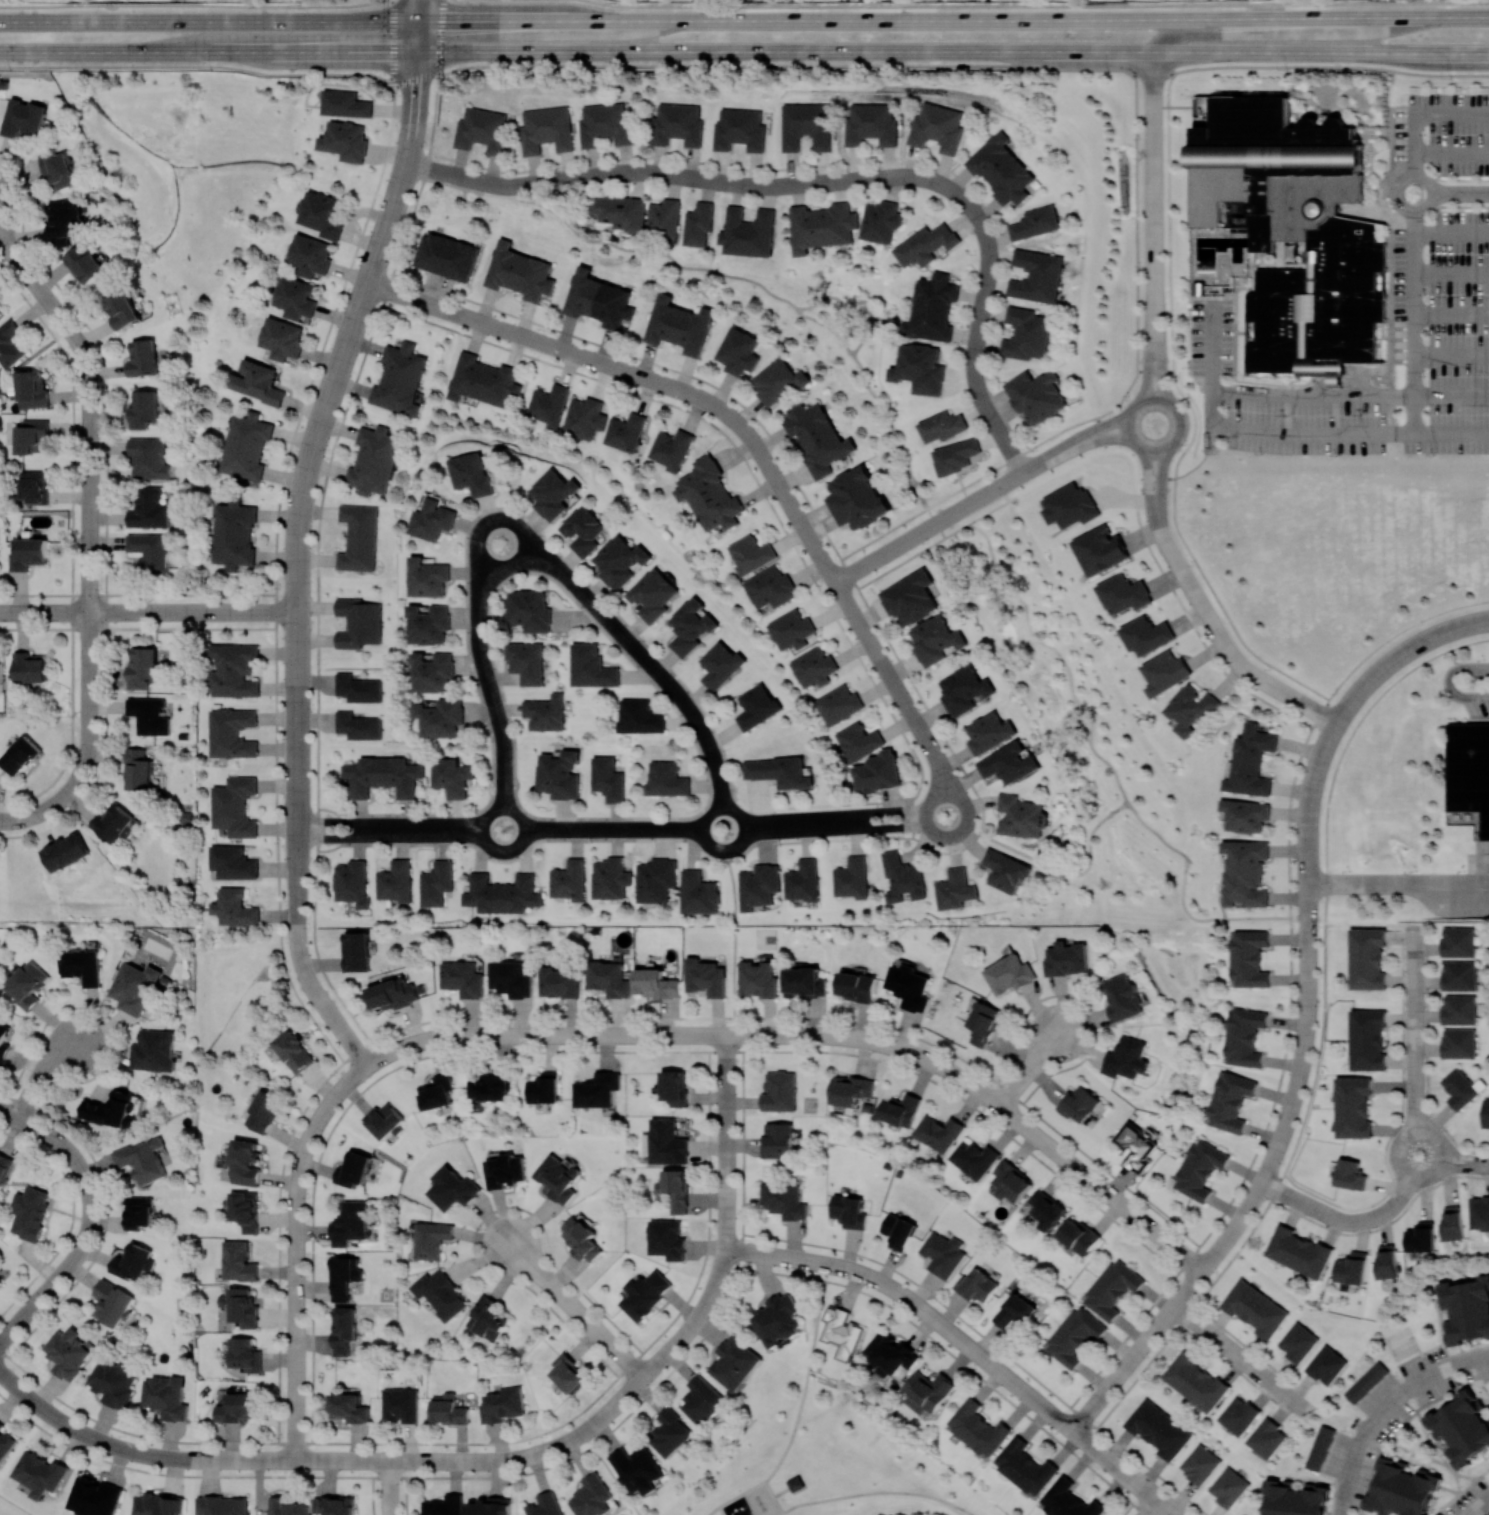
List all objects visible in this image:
park: (46, 0)
road: (192, 4)
road: (1038, 4)
road: (417, 10)
road: (744, 20)
traffic signals: (417, 21)
road: (1292, 32)
road: (440, 35)
road: (417, 36)
road: (392, 40)
road: (744, 50)
traffic signals: (417, 52)
road: (742, 64)
road: (415, 79)
building: (345, 104)
road: (1419, 111)
building: (23, 117)
building: (605, 124)
building: (676, 124)
building: (871, 124)
building: (806, 125)
building: (936, 127)
building: (482, 129)
building: (546, 129)
building: (739, 130)
road: (409, 134)
building: (345, 140)
road: (1450, 154)
park: (146, 165)
building: (60, 169)
building: (1001, 169)
road: (401, 174)
road: (489, 180)
road: (761, 183)
road: (465, 188)
road: (1459, 191)
road: (395, 197)
road: (1153, 198)
road: (1396, 201)
road: (968, 202)
building: (621, 212)
road: (390, 213)
building: (322, 214)
building: (664, 218)
building: (64, 221)
building: (880, 221)
building: (1035, 222)
building: (698, 224)
building: (821, 226)
building: (748, 232)
building: (1295, 232)
road: (381, 238)
road: (5, 239)
building: (925, 244)
building: (310, 255)
building: (446, 256)
building: (85, 263)
road: (371, 269)
building: (519, 272)
building: (1036, 276)
road: (759, 287)
building: (296, 297)
road: (415, 298)
building: (598, 299)
road: (983, 300)
road: (844, 305)
building: (933, 308)
building: (122, 309)
building: (0, 310)
road: (1409, 323)
building: (679, 325)
building: (1025, 333)
building: (282, 338)
building: (9, 344)
building: (739, 351)
building: (143, 358)
building: (920, 368)
road: (1154, 370)
road: (1159, 371)
road: (1144, 372)
building: (399, 379)
building: (483, 381)
building: (257, 382)
building: (778, 382)
building: (31, 389)
road: (1310, 391)
road: (692, 392)
road: (1449, 394)
building: (1036, 395)
road: (1122, 395)
road: (1151, 396)
building: (547, 405)
building: (144, 409)
building: (583, 417)
road: (1114, 418)
road: (1194, 418)
road: (90, 420)
road: (996, 423)
road: (1127, 424)
road: (1179, 424)
building: (942, 426)
building: (625, 432)
road: (1248, 432)
road: (1086, 433)
road: (1101, 434)
building: (32, 436)
building: (817, 437)
road: (1105, 438)
road: (1449, 438)
road: (313, 441)
road: (1137, 442)
building: (247, 447)
road: (1154, 447)
building: (671, 448)
building: (956, 455)
road: (1050, 455)
building: (148, 457)
building: (373, 460)
road: (1185, 472)
road: (1133, 473)
building: (473, 474)
road: (1013, 476)
road: (1161, 476)
road: (1147, 477)
building: (33, 486)
building: (554, 493)
building: (710, 495)
building: (856, 498)
road: (975, 498)
park: (994, 498)
building: (1070, 506)
building: (149, 509)
building: (434, 518)
road: (496, 519)
road: (934, 519)
road: (934, 522)
building: (584, 531)
building: (235, 535)
building: (358, 537)
building: (1100, 550)
building: (150, 551)
building: (27, 552)
building: (750, 554)
road: (878, 555)
road: (317, 557)
building: (620, 561)
building: (429, 577)
road: (573, 583)
building: (770, 588)
building: (1124, 593)
building: (653, 594)
road: (1195, 595)
building: (910, 597)
road: (480, 601)
road: (98, 610)
road: (246, 610)
road: (858, 620)
building: (358, 623)
building: (430, 624)
building: (691, 626)
building: (791, 629)
building: (1147, 635)
road: (297, 639)
building: (936, 639)
road: (1401, 655)
building: (526, 662)
building: (720, 665)
building: (142, 666)
road: (651, 666)
building: (30, 667)
road: (484, 667)
building: (592, 667)
building: (814, 667)
building: (1, 670)
building: (234, 670)
building: (434, 672)
building: (1165, 672)
road: (1452, 682)
building: (358, 688)
building: (964, 689)
road: (1293, 699)
road: (297, 700)
building: (838, 704)
building: (757, 706)
building: (1191, 708)
building: (545, 712)
building: (149, 715)
building: (441, 717)
building: (640, 717)
road: (913, 717)
building: (358, 726)
building: (989, 732)
building: (231, 733)
building: (858, 741)
road: (89, 742)
road: (708, 745)
road: (503, 749)
building: (20, 755)
road: (1104, 761)
building: (1251, 761)
road: (1320, 762)
building: (1009, 763)
building: (1470, 768)
building: (138, 770)
building: (778, 771)
building: (878, 772)
building: (559, 775)
building: (384, 776)
building: (452, 776)
building: (608, 779)
building: (667, 779)
road: (944, 785)
building: (234, 806)
road: (967, 811)
road: (517, 813)
road: (708, 813)
building: (1245, 815)
building: (1021, 816)
road: (898, 819)
road: (333, 820)
road: (925, 820)
road: (856, 821)
building: (114, 823)
road: (792, 824)
road: (425, 828)
road: (613, 828)
road: (298, 829)
road: (333, 837)
road: (488, 843)
road: (738, 844)
building: (66, 851)
road: (1308, 856)
building: (232, 862)
building: (1005, 871)
building: (1245, 872)
road: (1070, 874)
building: (611, 878)
building: (852, 878)
building: (902, 878)
building: (570, 880)
building: (656, 880)
building: (803, 880)
building: (395, 881)
building: (352, 882)
building: (436, 883)
building: (759, 885)
road: (1398, 885)
building: (955, 889)
building: (699, 893)
building: (502, 894)
building: (234, 907)
road: (1308, 917)
road: (733, 937)
building: (1459, 941)
road: (300, 952)
building: (357, 952)
building: (1067, 958)
building: (1249, 958)
building: (1367, 958)
building: (81, 965)
park: (1177, 966)
building: (1010, 974)
building: (1459, 975)
building: (706, 977)
building: (463, 978)
building: (511, 978)
building: (609, 978)
building: (758, 979)
building: (559, 982)
building: (805, 982)
building: (655, 983)
building: (28, 984)
road: (1289, 984)
building: (857, 986)
building: (133, 987)
park: (240, 987)
building: (909, 987)
building: (394, 994)
building: (1124, 997)
building: (1459, 1009)
road: (602, 1017)
road: (336, 1021)
building: (984, 1022)
road: (1416, 1026)
road: (627, 1034)
building: (1244, 1037)
building: (1367, 1040)
building: (4, 1041)
building: (1458, 1042)
road: (902, 1049)
building: (154, 1050)
building: (294, 1051)
building: (1126, 1057)
road: (1027, 1067)
road: (42, 1070)
building: (489, 1087)
building: (675, 1087)
building: (544, 1088)
building: (1459, 1088)
building: (850, 1089)
building: (597, 1090)
building: (780, 1091)
building: (436, 1092)
building: (1230, 1101)
building: (1079, 1103)
building: (1353, 1107)
building: (110, 1109)
building: (899, 1110)
building: (264, 1111)
building: (1486, 1113)
building: (384, 1120)
road: (1405, 1129)
building: (938, 1132)
road: (727, 1140)
building: (777, 1140)
building: (667, 1142)
building: (646, 1144)
building: (1135, 1146)
road: (1060, 1155)
building: (974, 1158)
building: (142, 1160)
building: (246, 1162)
road: (1465, 1163)
building: (5, 1167)
building: (353, 1169)
building: (1199, 1169)
building: (505, 1171)
building: (1350, 1174)
road: (1429, 1174)
building: (557, 1178)
building: (1012, 1181)
road: (1406, 1184)
building: (453, 1188)
building: (676, 1189)
road: (296, 1200)
building: (784, 1200)
road: (1249, 1202)
building: (1047, 1209)
building: (245, 1210)
building: (849, 1211)
building: (30, 1212)
building: (139, 1212)
building: (1479, 1213)
road: (89, 1219)
road: (1333, 1219)
building: (1452, 1222)
building: (350, 1223)
building: (899, 1231)
building: (1079, 1236)
building: (1421, 1237)
building: (432, 1239)
building: (582, 1239)
building: (667, 1239)
building: (1298, 1251)
building: (943, 1254)
building: (238, 1261)
building: (1386, 1261)
building: (133, 1262)
building: (1351, 1268)
road: (778, 1273)
building: (344, 1276)
building: (0, 1281)
building: (976, 1285)
building: (1112, 1288)
building: (645, 1293)
building: (441, 1294)
building: (112, 1303)
road: (916, 1303)
building: (245, 1307)
building: (1255, 1308)
road: (577, 1309)
building: (1467, 1309)
building: (1014, 1311)
building: (488, 1319)
building: (777, 1319)
building: (343, 1327)
building: (842, 1332)
building: (1074, 1336)
road: (989, 1341)
building: (1298, 1342)
park: (1401, 1342)
building: (68, 1352)
building: (245, 1354)
building: (890, 1354)
road: (1242, 1359)
building: (735, 1363)
building: (1327, 1365)
road: (296, 1369)
building: (568, 1373)
road: (983, 1380)
building: (114, 1381)
building: (1196, 1381)
building: (1366, 1381)
road: (802, 1384)
building: (927, 1391)
building: (166, 1397)
building: (702, 1400)
building: (400, 1404)
building: (503, 1405)
building: (236, 1407)
building: (349, 1407)
road: (1384, 1408)
building: (448, 1409)
building: (1239, 1415)
road: (296, 1420)
building: (1462, 1427)
building: (978, 1428)
building: (1158, 1428)
building: (670, 1433)
road: (88, 1435)
building: (1267, 1438)
building: (5, 1442)
road: (559, 1445)
building: (1320, 1447)
road: (245, 1460)
park: (829, 1462)
building: (1200, 1464)
road: (1115, 1465)
building: (1025, 1467)
building: (638, 1469)
building: (40, 1474)
road: (512, 1474)
road: (613, 1480)
building: (794, 1483)
building: (1228, 1486)
road: (389, 1487)
building: (1402, 1489)
road: (876, 1492)
road: (739, 1493)
building: (591, 1496)
road: (771, 1496)
building: (95, 1497)
building: (1295, 1498)
building: (1068, 1500)
building: (158, 1504)
building: (221, 1505)
building: (335, 1505)
building: (445, 1505)
building: (546, 1505)
building: (491, 1506)
road: (1477, 1506)
building: (286, 1507)
road: (1151, 1507)
road: (1167, 1507)
park: (11, 1508)
road: (1125, 1509)
road: (1137, 1509)
road: (711, 1510)
road: (718, 1510)
road: (777, 1513)

